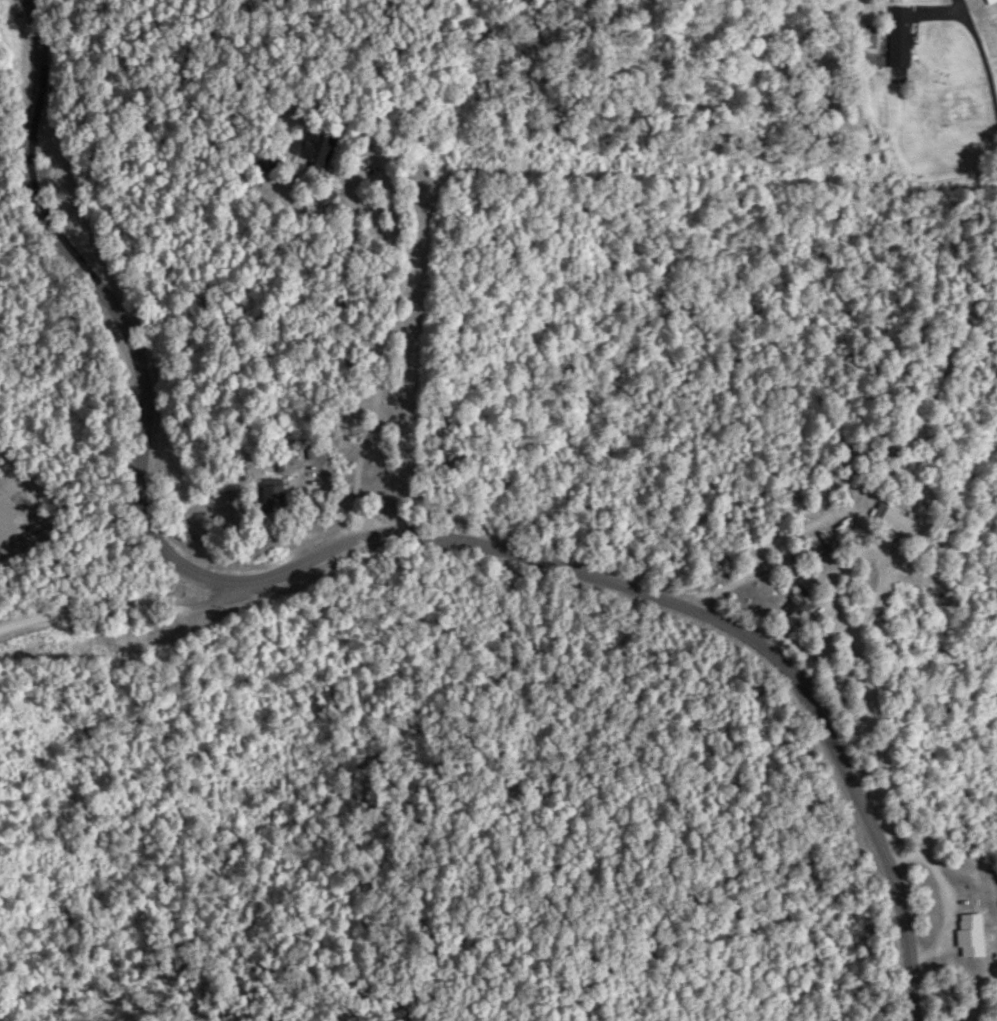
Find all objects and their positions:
building: (898, 37)
road: (982, 53)
building: (316, 149)
building: (264, 162)
road: (388, 318)
road: (912, 431)
building: (271, 496)
road: (376, 522)
building: (797, 605)
road: (115, 607)
road: (851, 642)
building: (970, 935)

